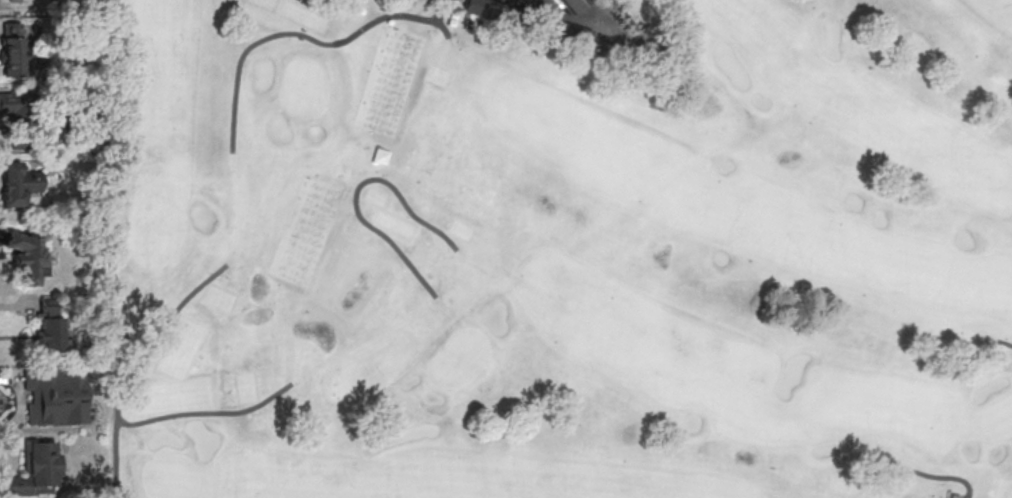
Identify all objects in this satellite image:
building: (576, 4)
building: (575, 36)
building: (18, 56)
park: (303, 88)
building: (16, 110)
building: (18, 183)
park: (155, 230)
park: (553, 248)
park: (545, 252)
building: (28, 257)
building: (50, 325)
park: (460, 357)
building: (53, 398)
park: (997, 419)
building: (37, 470)
park: (170, 477)
park: (1011, 495)

